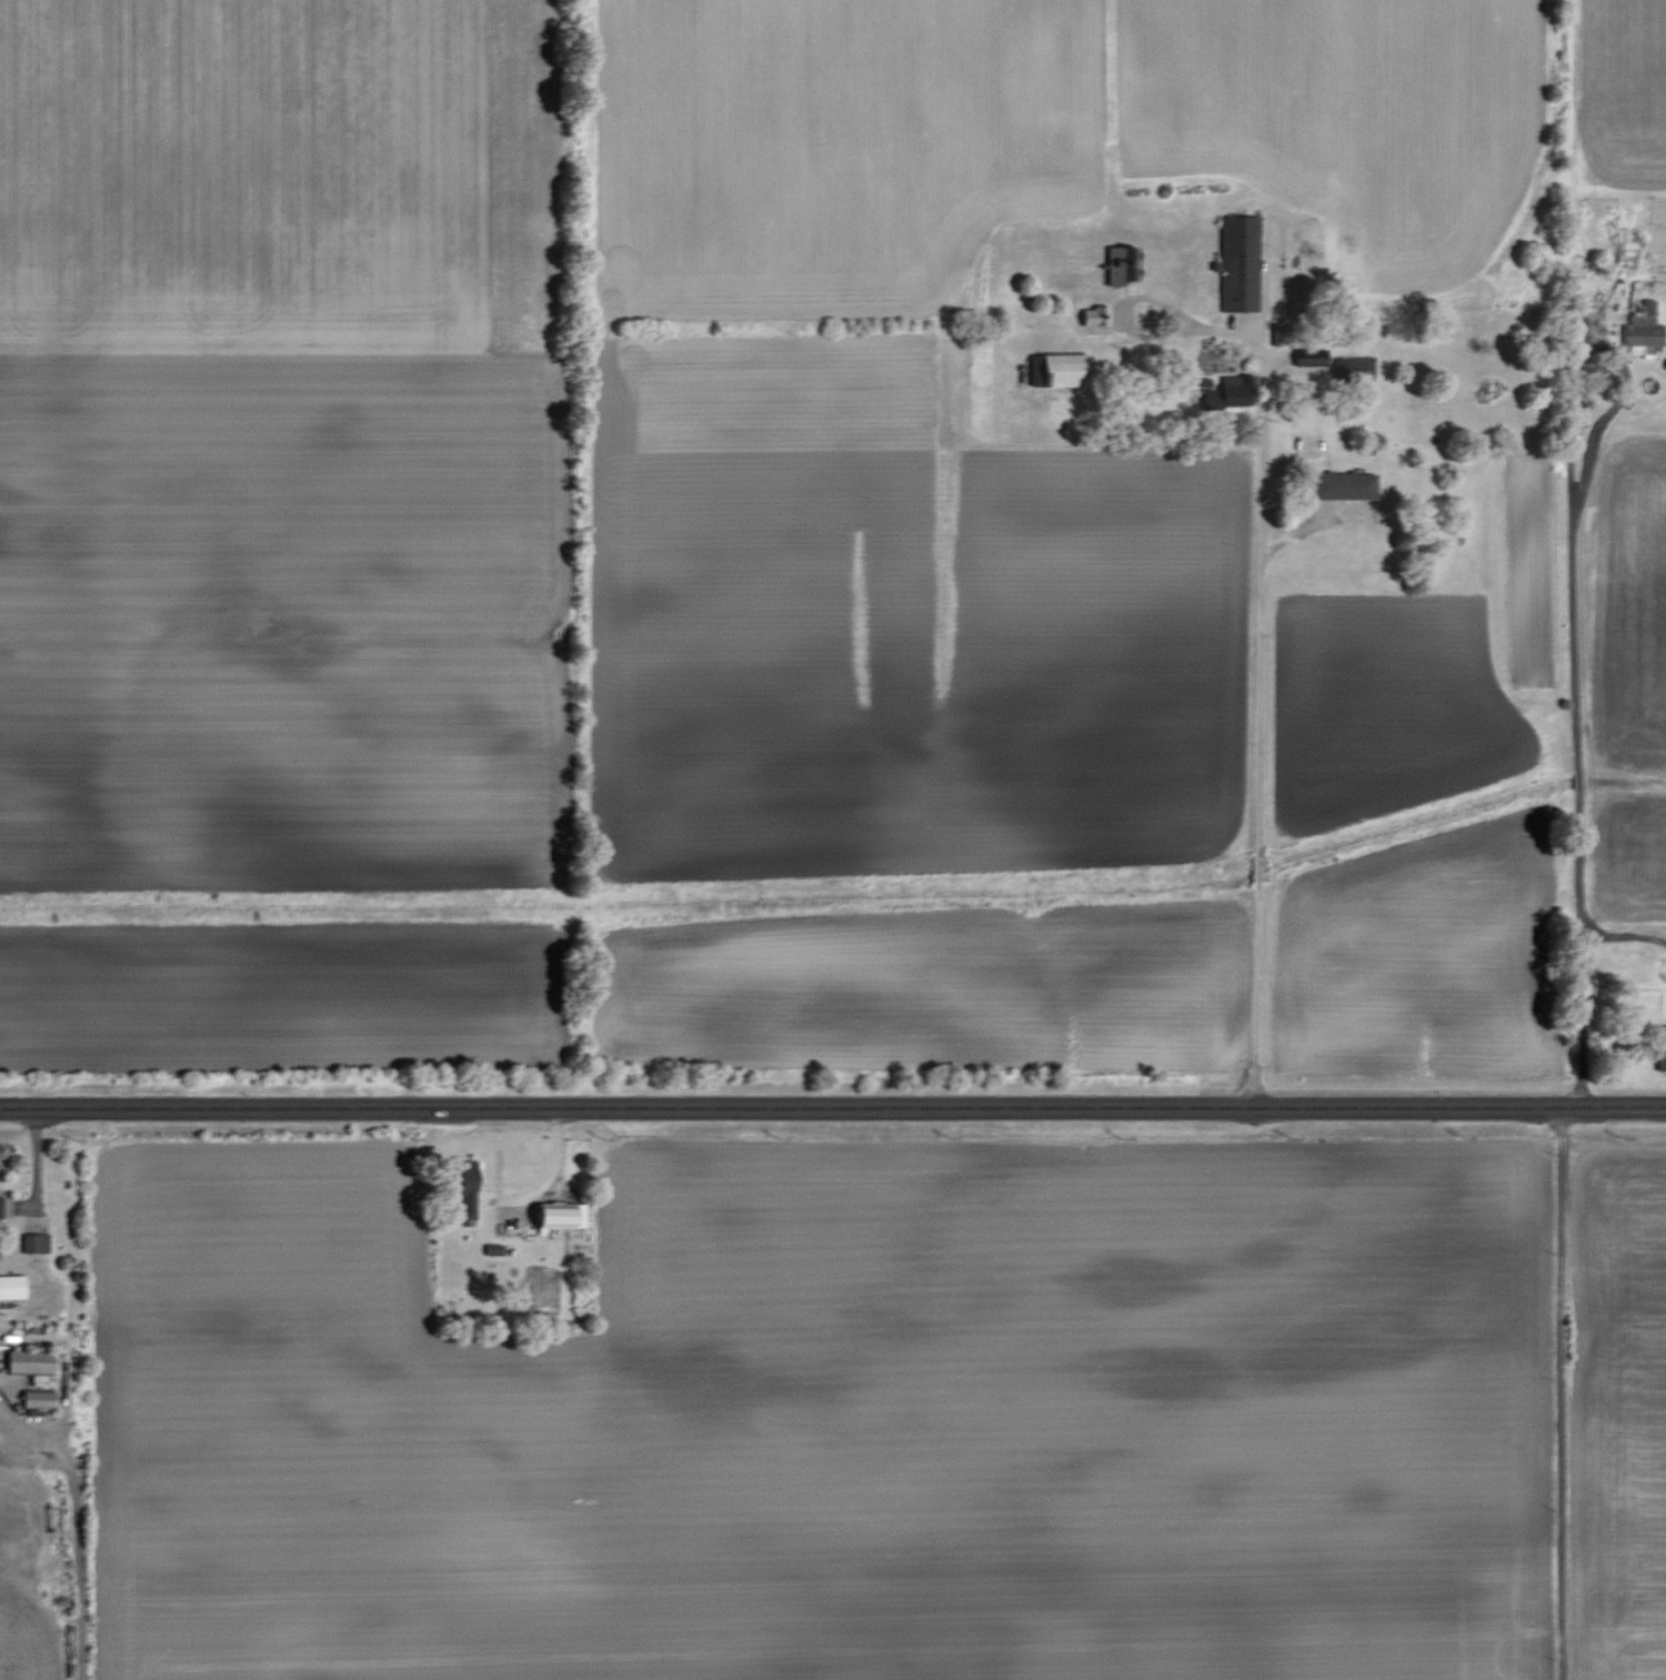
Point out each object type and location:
crop: (288, 174)
building: (1624, 248)
building: (1240, 264)
building: (1123, 265)
building: (1095, 316)
building: (1645, 329)
building: (1337, 365)
building: (1065, 371)
building: (1228, 395)
building: (1346, 486)
road: (1258, 605)
road: (1569, 647)
crop: (289, 716)
crop: (904, 740)
building: (1657, 1047)
road: (833, 1114)
building: (1, 1206)
road: (14, 1228)
building: (36, 1243)
building: (13, 1287)
building: (32, 1362)
road: (1557, 1397)
building: (40, 1399)
road: (79, 1525)

